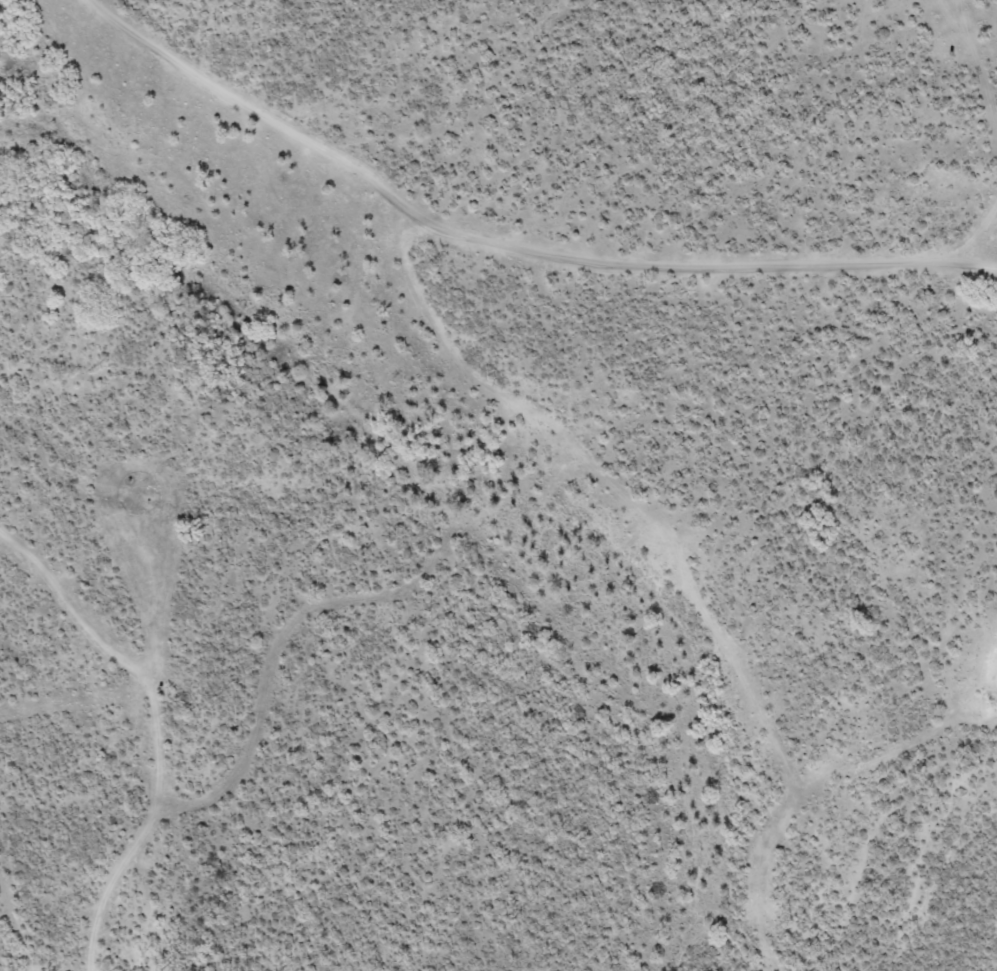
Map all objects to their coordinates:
road: (509, 245)
road: (146, 514)

